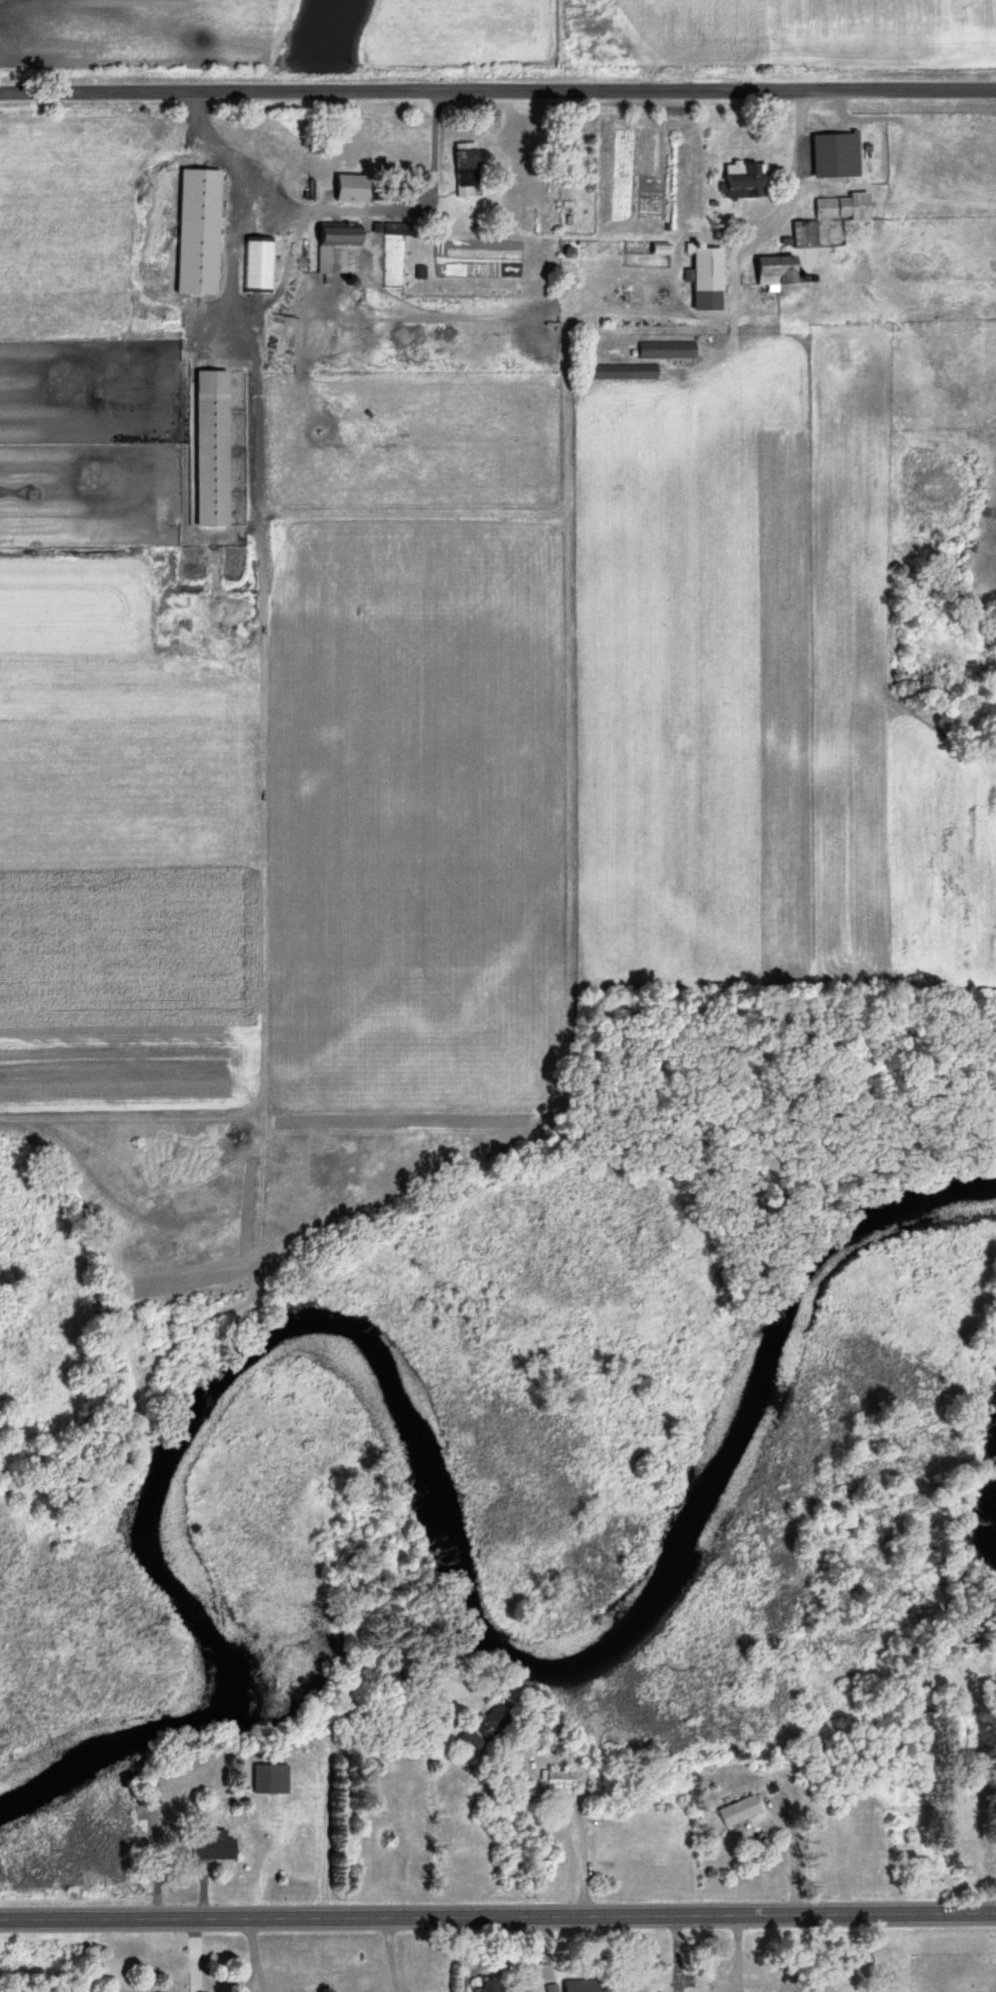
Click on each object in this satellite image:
building: (986, 14)
crop: (469, 30)
road: (497, 86)
building: (831, 155)
building: (458, 170)
building: (738, 183)
building: (343, 188)
building: (837, 207)
road: (334, 213)
building: (801, 234)
building: (332, 248)
building: (771, 273)
building: (702, 278)
building: (665, 350)
building: (622, 372)
river: (420, 1462)
river: (993, 1520)
building: (482, 1730)
building: (557, 1781)
road: (568, 1805)
building: (993, 1808)
building: (737, 1813)
building: (212, 1848)
road: (788, 1849)
road: (497, 1910)
road: (252, 1939)
road: (391, 1952)
road: (249, 1978)
road: (260, 1978)
building: (485, 1986)
building: (576, 1988)

